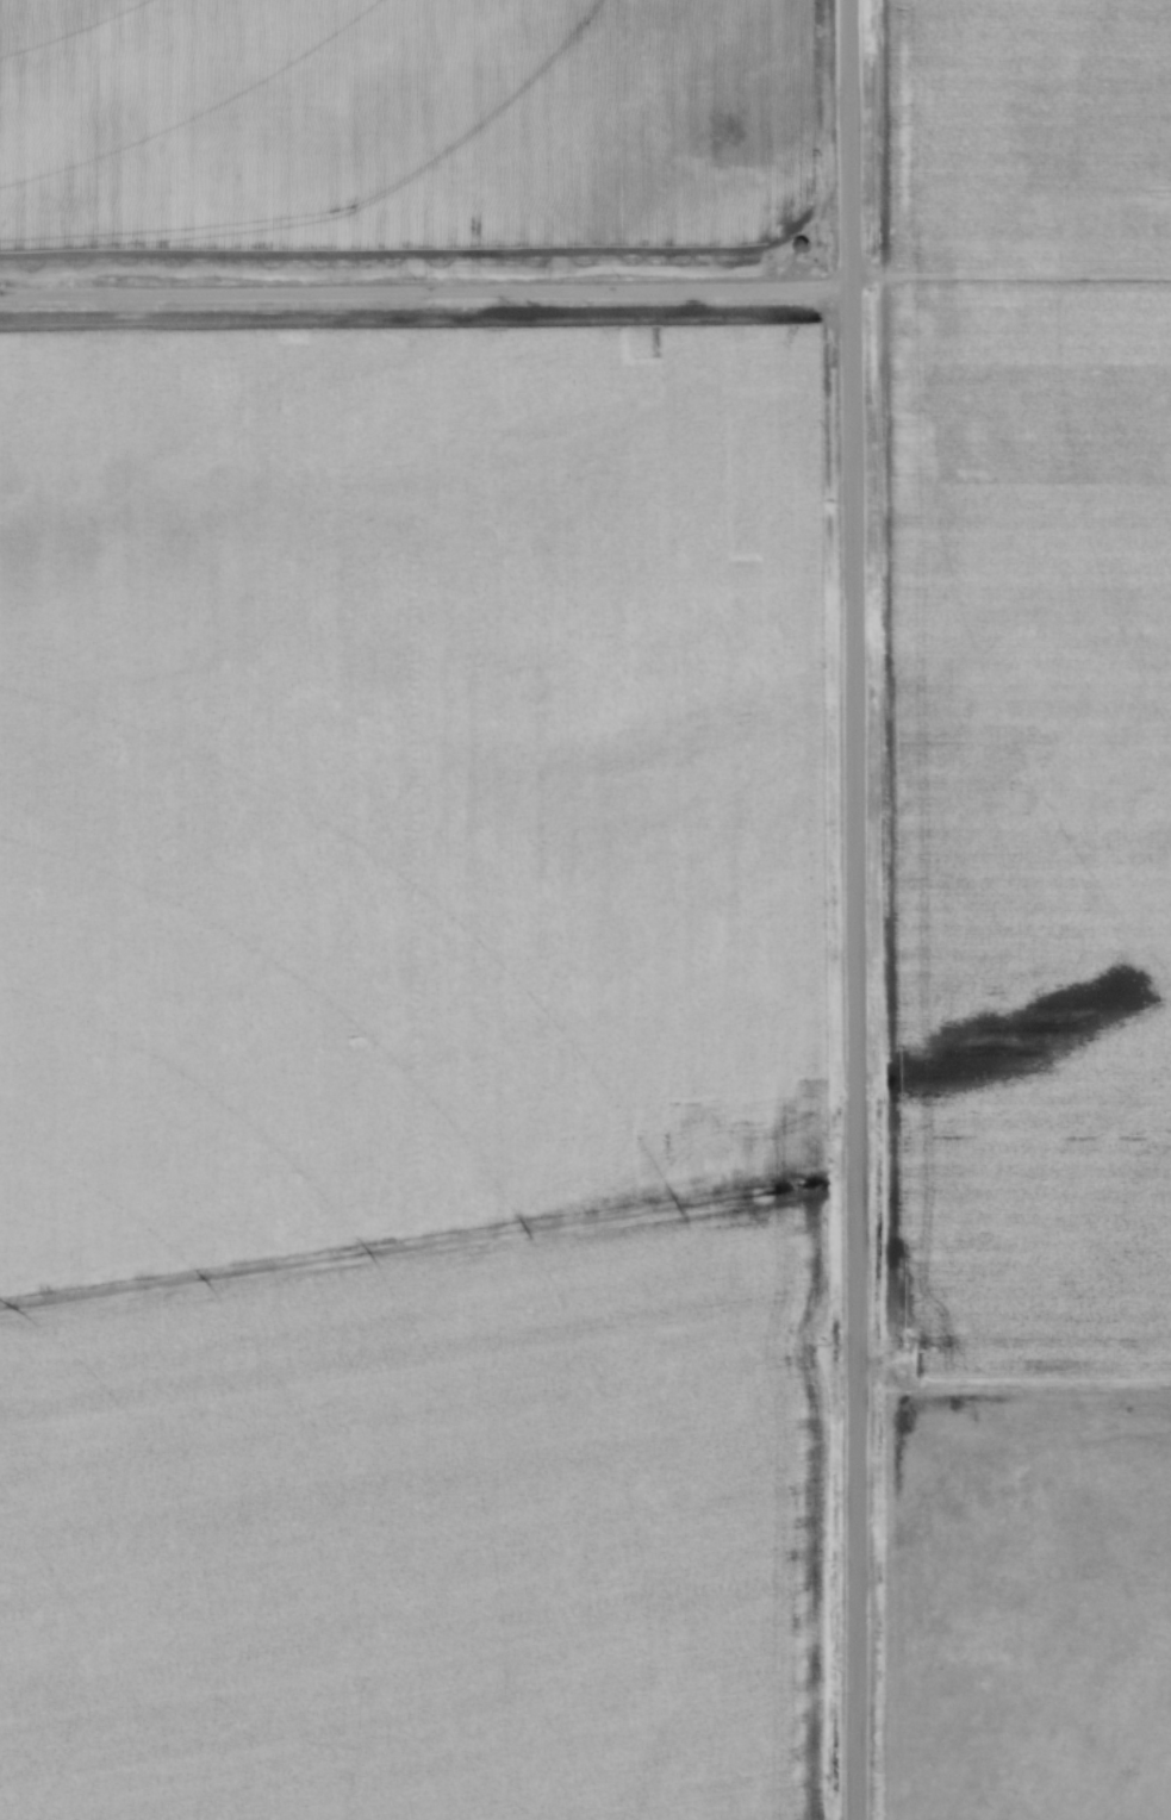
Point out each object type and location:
road: (425, 292)
road: (855, 909)

